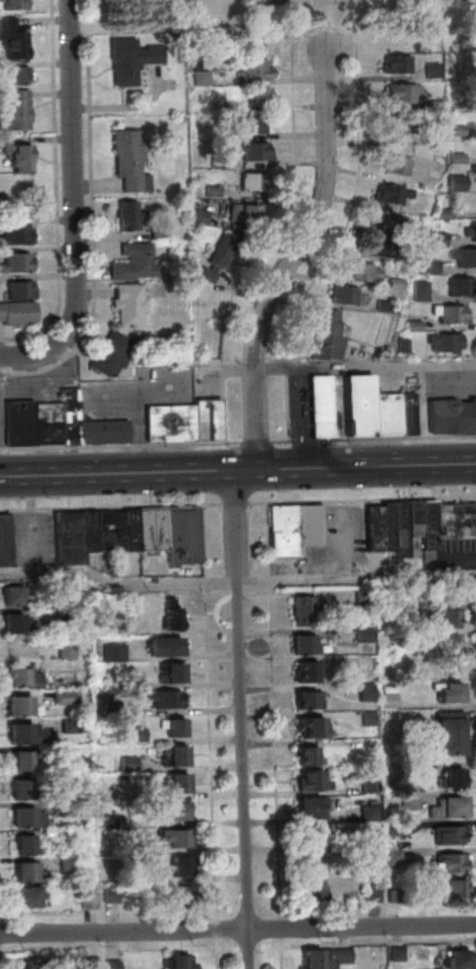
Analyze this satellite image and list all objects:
building: (11, 4)
building: (11, 40)
building: (127, 58)
building: (392, 63)
building: (247, 67)
building: (428, 70)
building: (11, 76)
road: (340, 79)
road: (301, 80)
building: (397, 93)
building: (254, 95)
building: (452, 102)
building: (430, 105)
building: (13, 111)
building: (246, 123)
building: (397, 124)
building: (452, 130)
building: (431, 140)
building: (250, 151)
building: (16, 157)
building: (453, 157)
building: (126, 159)
building: (213, 163)
building: (392, 164)
building: (472, 170)
building: (252, 181)
building: (453, 182)
building: (208, 191)
road: (53, 192)
building: (387, 194)
road: (70, 205)
building: (238, 213)
building: (441, 214)
building: (126, 215)
building: (195, 217)
building: (381, 221)
building: (469, 231)
building: (156, 232)
building: (14, 235)
road: (88, 237)
road: (260, 239)
road: (337, 239)
building: (434, 240)
building: (372, 247)
building: (216, 255)
road: (290, 257)
building: (463, 258)
building: (401, 259)
building: (132, 262)
building: (14, 263)
building: (425, 267)
building: (359, 272)
building: (392, 283)
building: (458, 286)
building: (17, 291)
building: (417, 291)
building: (341, 295)
building: (128, 304)
building: (383, 306)
building: (204, 310)
building: (19, 313)
building: (454, 314)
building: (417, 326)
building: (330, 335)
building: (448, 342)
building: (407, 346)
building: (114, 353)
road: (367, 367)
building: (362, 405)
building: (324, 407)
building: (390, 414)
building: (411, 414)
building: (73, 415)
building: (454, 417)
building: (211, 418)
building: (23, 422)
building: (174, 422)
building: (51, 423)
building: (107, 431)
road: (375, 438)
road: (260, 442)
road: (123, 446)
road: (356, 467)
road: (118, 473)
road: (362, 497)
road: (233, 502)
road: (109, 505)
building: (414, 519)
building: (455, 520)
road: (35, 525)
building: (309, 525)
building: (428, 525)
building: (378, 527)
building: (145, 529)
building: (158, 529)
building: (399, 529)
building: (89, 530)
building: (103, 530)
building: (116, 530)
building: (130, 530)
building: (282, 530)
building: (182, 536)
building: (68, 537)
building: (5, 540)
road: (348, 544)
road: (43, 573)
road: (101, 579)
road: (295, 580)
building: (68, 593)
building: (21, 594)
building: (364, 595)
building: (133, 605)
building: (305, 609)
building: (399, 612)
building: (67, 613)
building: (174, 613)
building: (448, 617)
building: (18, 622)
building: (366, 635)
building: (448, 641)
building: (303, 644)
building: (67, 646)
building: (169, 646)
building: (116, 651)
building: (364, 663)
building: (175, 671)
building: (304, 671)
building: (20, 675)
building: (125, 681)
building: (364, 690)
building: (447, 691)
building: (390, 695)
building: (66, 696)
building: (169, 698)
building: (304, 700)
building: (22, 704)
building: (117, 709)
building: (368, 717)
road: (240, 719)
building: (70, 724)
building: (177, 726)
building: (310, 726)
building: (28, 732)
building: (446, 734)
building: (140, 735)
road: (210, 735)
road: (272, 735)
building: (367, 743)
building: (66, 751)
building: (177, 755)
building: (302, 755)
building: (24, 760)
building: (130, 763)
building: (415, 771)
building: (450, 776)
building: (69, 780)
building: (311, 780)
building: (179, 782)
building: (370, 783)
building: (25, 789)
building: (109, 793)
building: (411, 801)
building: (445, 805)
building: (309, 806)
building: (68, 808)
building: (176, 810)
building: (370, 812)
building: (27, 816)
building: (110, 819)
building: (394, 826)
building: (312, 833)
building: (68, 834)
building: (447, 834)
building: (177, 837)
building: (373, 838)
building: (29, 844)
building: (144, 846)
building: (394, 856)
building: (450, 861)
building: (69, 863)
building: (178, 865)
building: (30, 870)
building: (146, 874)
building: (451, 887)
building: (310, 889)
building: (113, 893)
building: (372, 893)
building: (179, 895)
building: (394, 895)
building: (33, 896)
building: (90, 901)
road: (237, 929)
road: (377, 942)
building: (394, 953)
building: (455, 955)
building: (324, 958)
building: (34, 960)
building: (178, 961)
road: (0, 962)
building: (112, 963)

